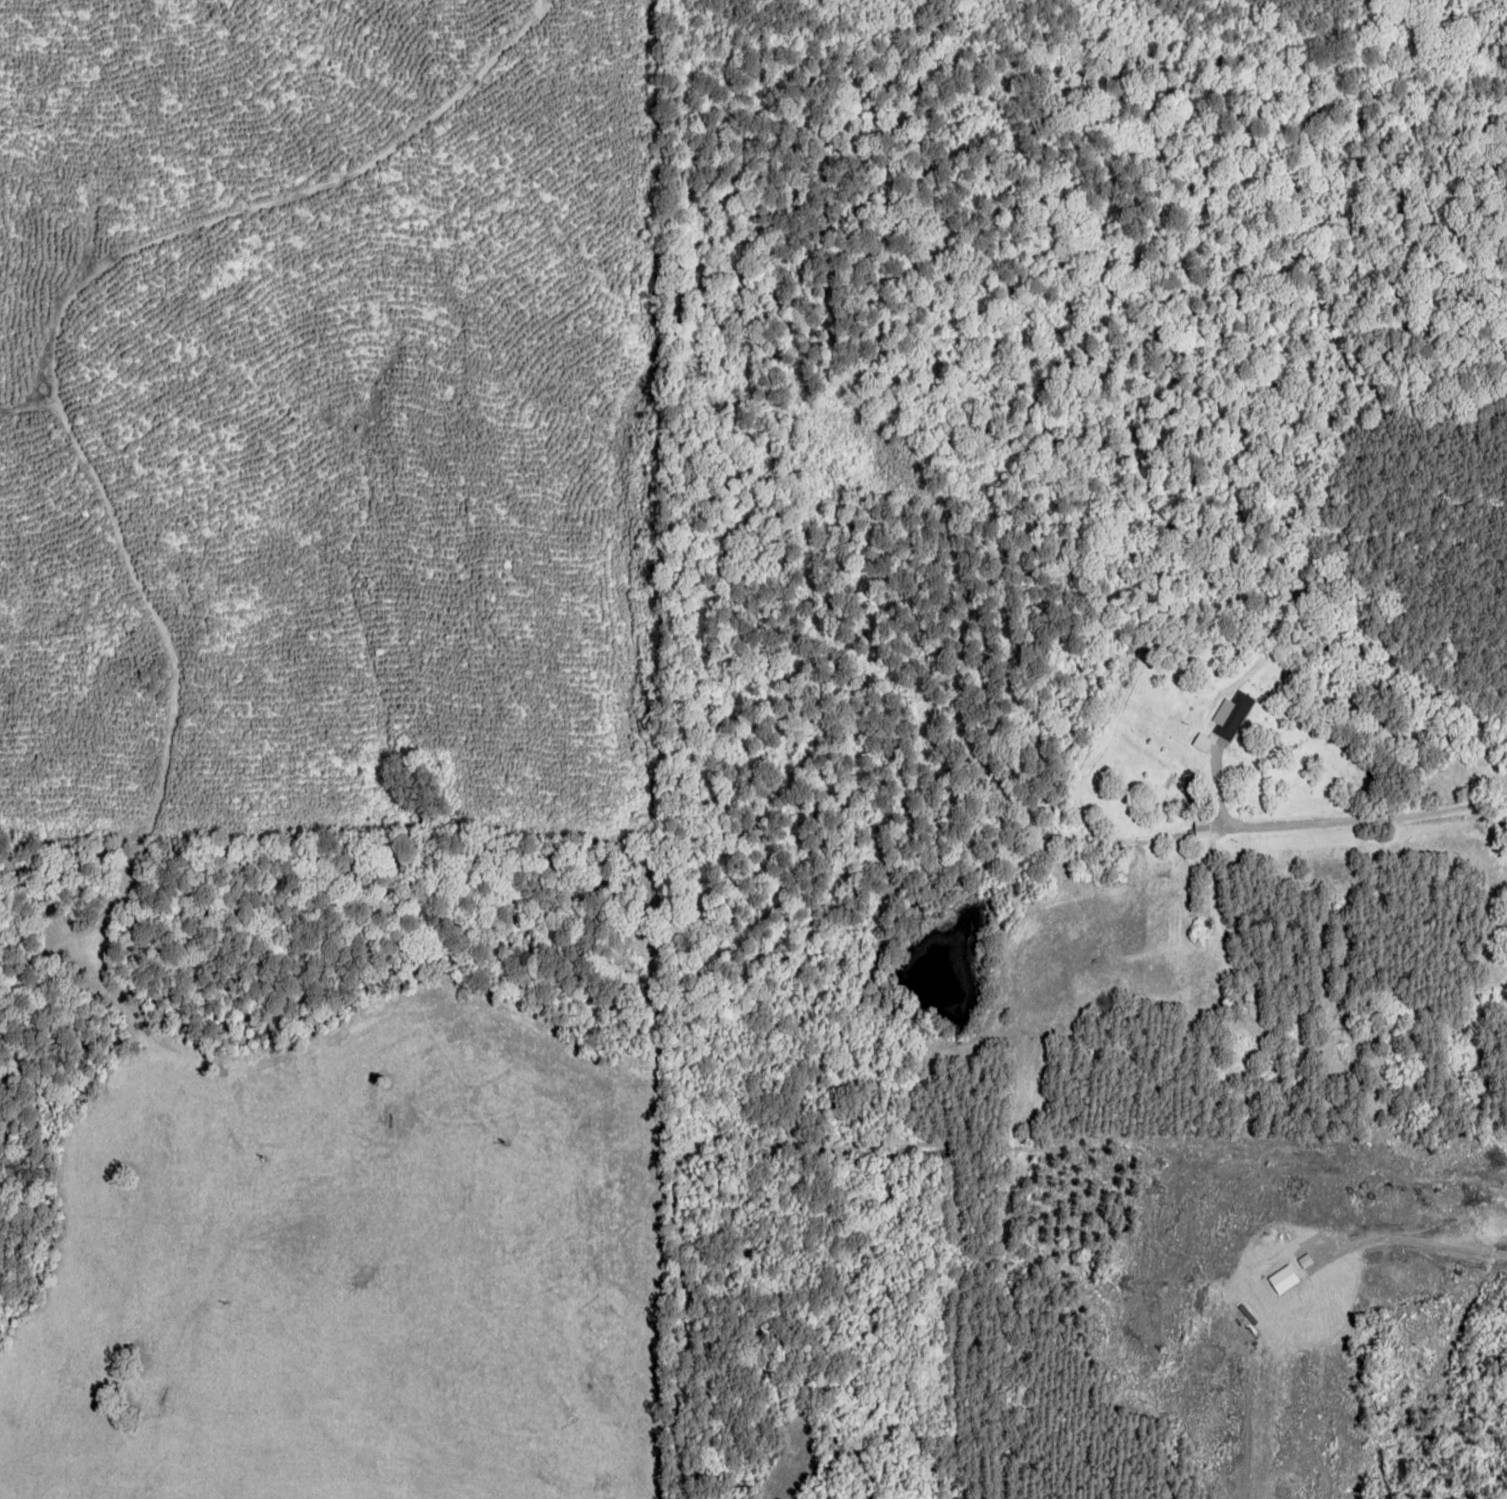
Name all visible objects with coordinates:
building: (1230, 714)
road: (1359, 832)

